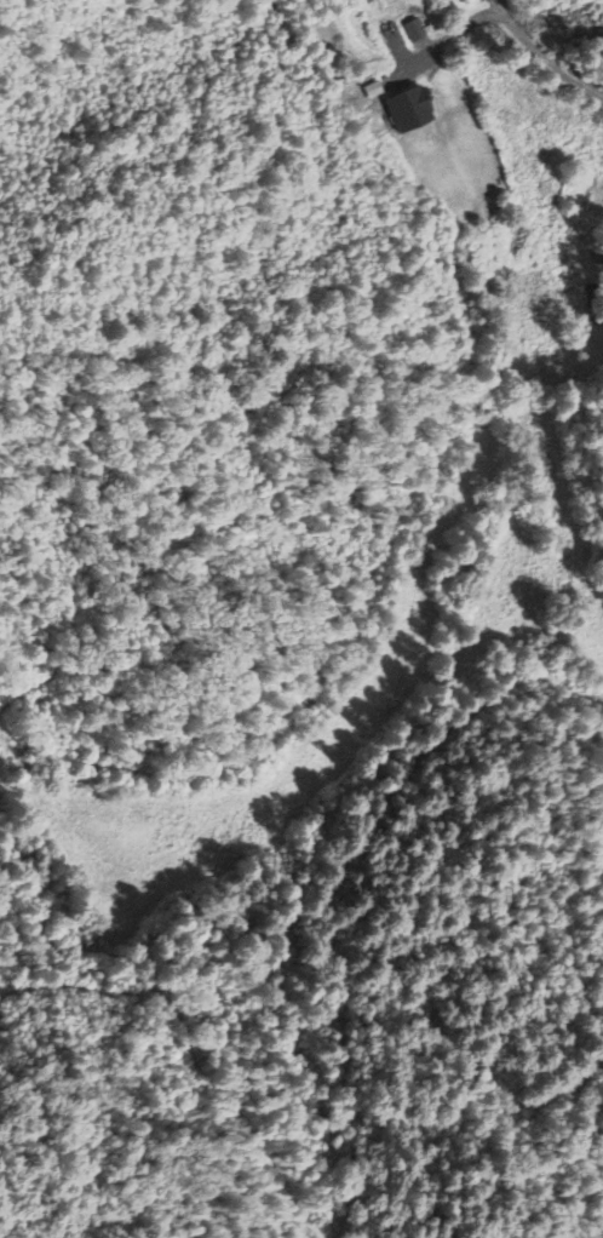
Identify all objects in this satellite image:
road: (552, 62)
building: (409, 111)

